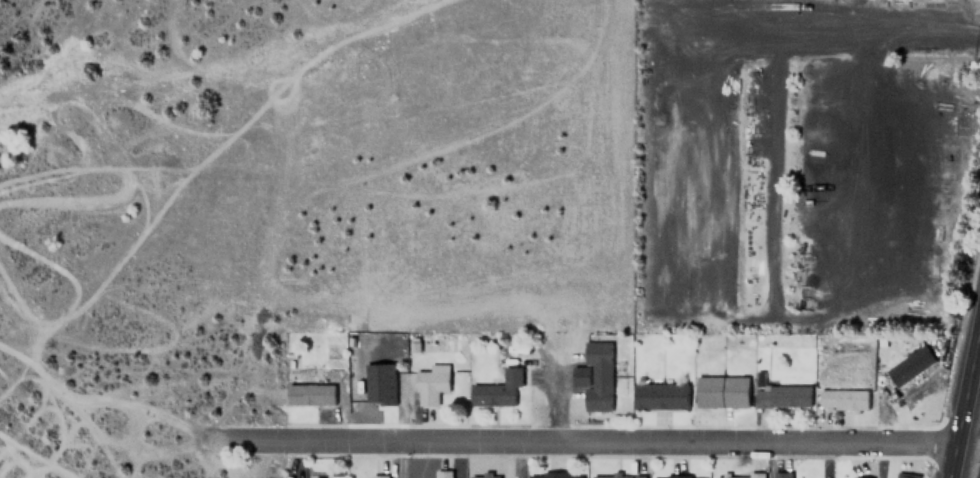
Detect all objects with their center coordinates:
building: (908, 365)
building: (596, 376)
road: (554, 380)
building: (429, 383)
building: (496, 389)
building: (720, 391)
building: (309, 394)
building: (659, 396)
building: (781, 396)
building: (841, 399)
road: (965, 404)
road: (590, 444)
power substation: (977, 465)
building: (441, 474)
building: (781, 474)
building: (378, 475)
building: (553, 475)
building: (904, 475)
building: (617, 476)
building: (738, 476)
building: (483, 477)
building: (676, 477)

